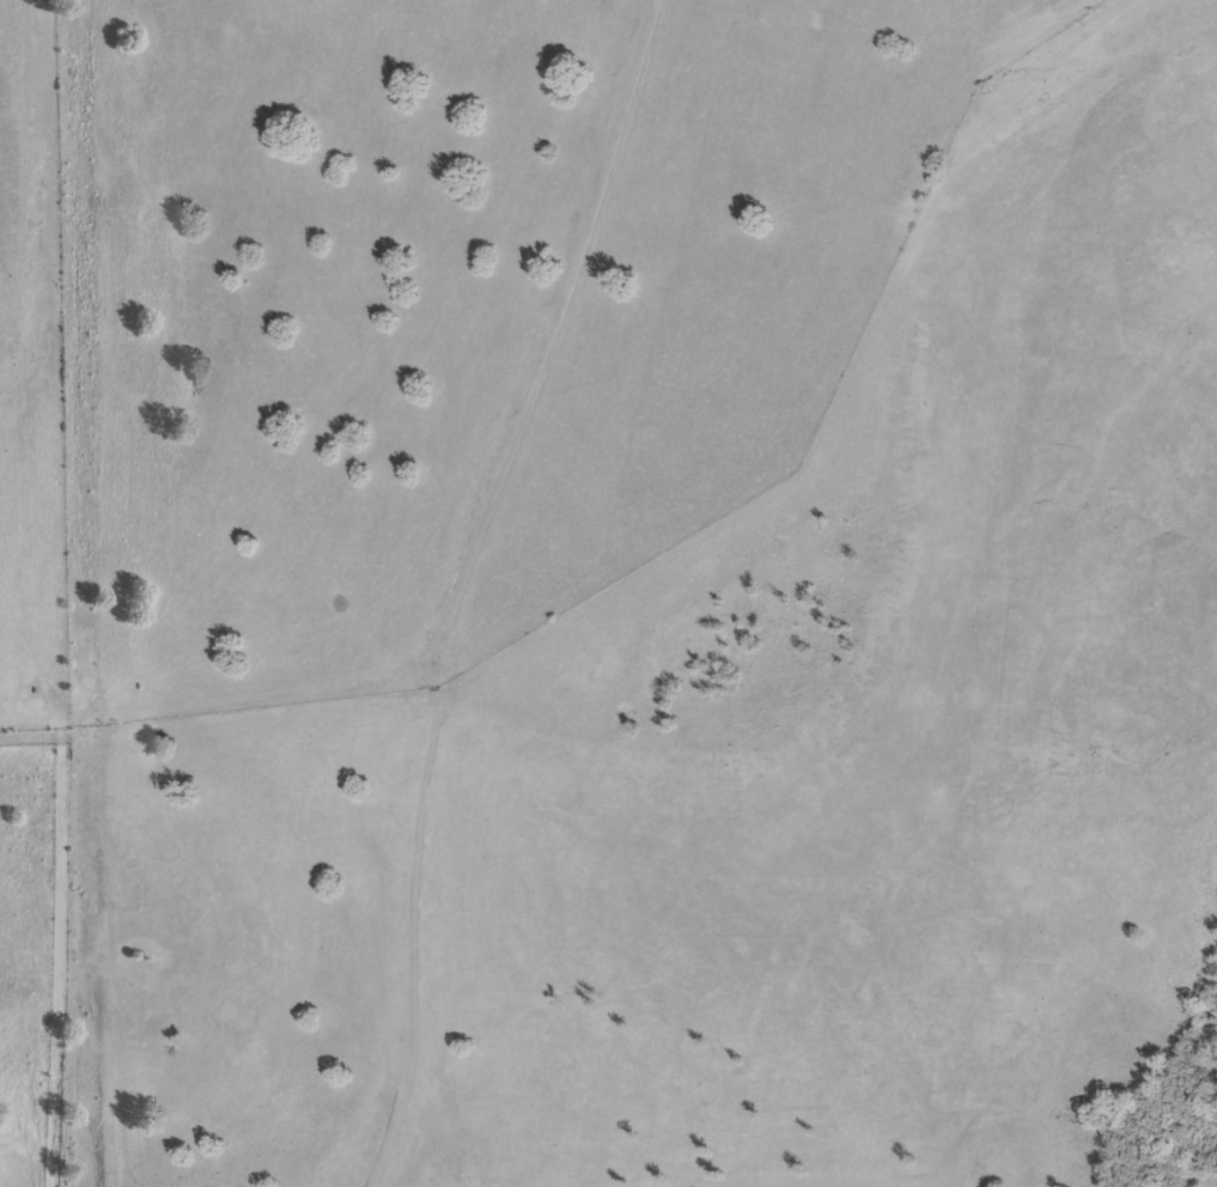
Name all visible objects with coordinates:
road: (613, 166)
road: (409, 745)

